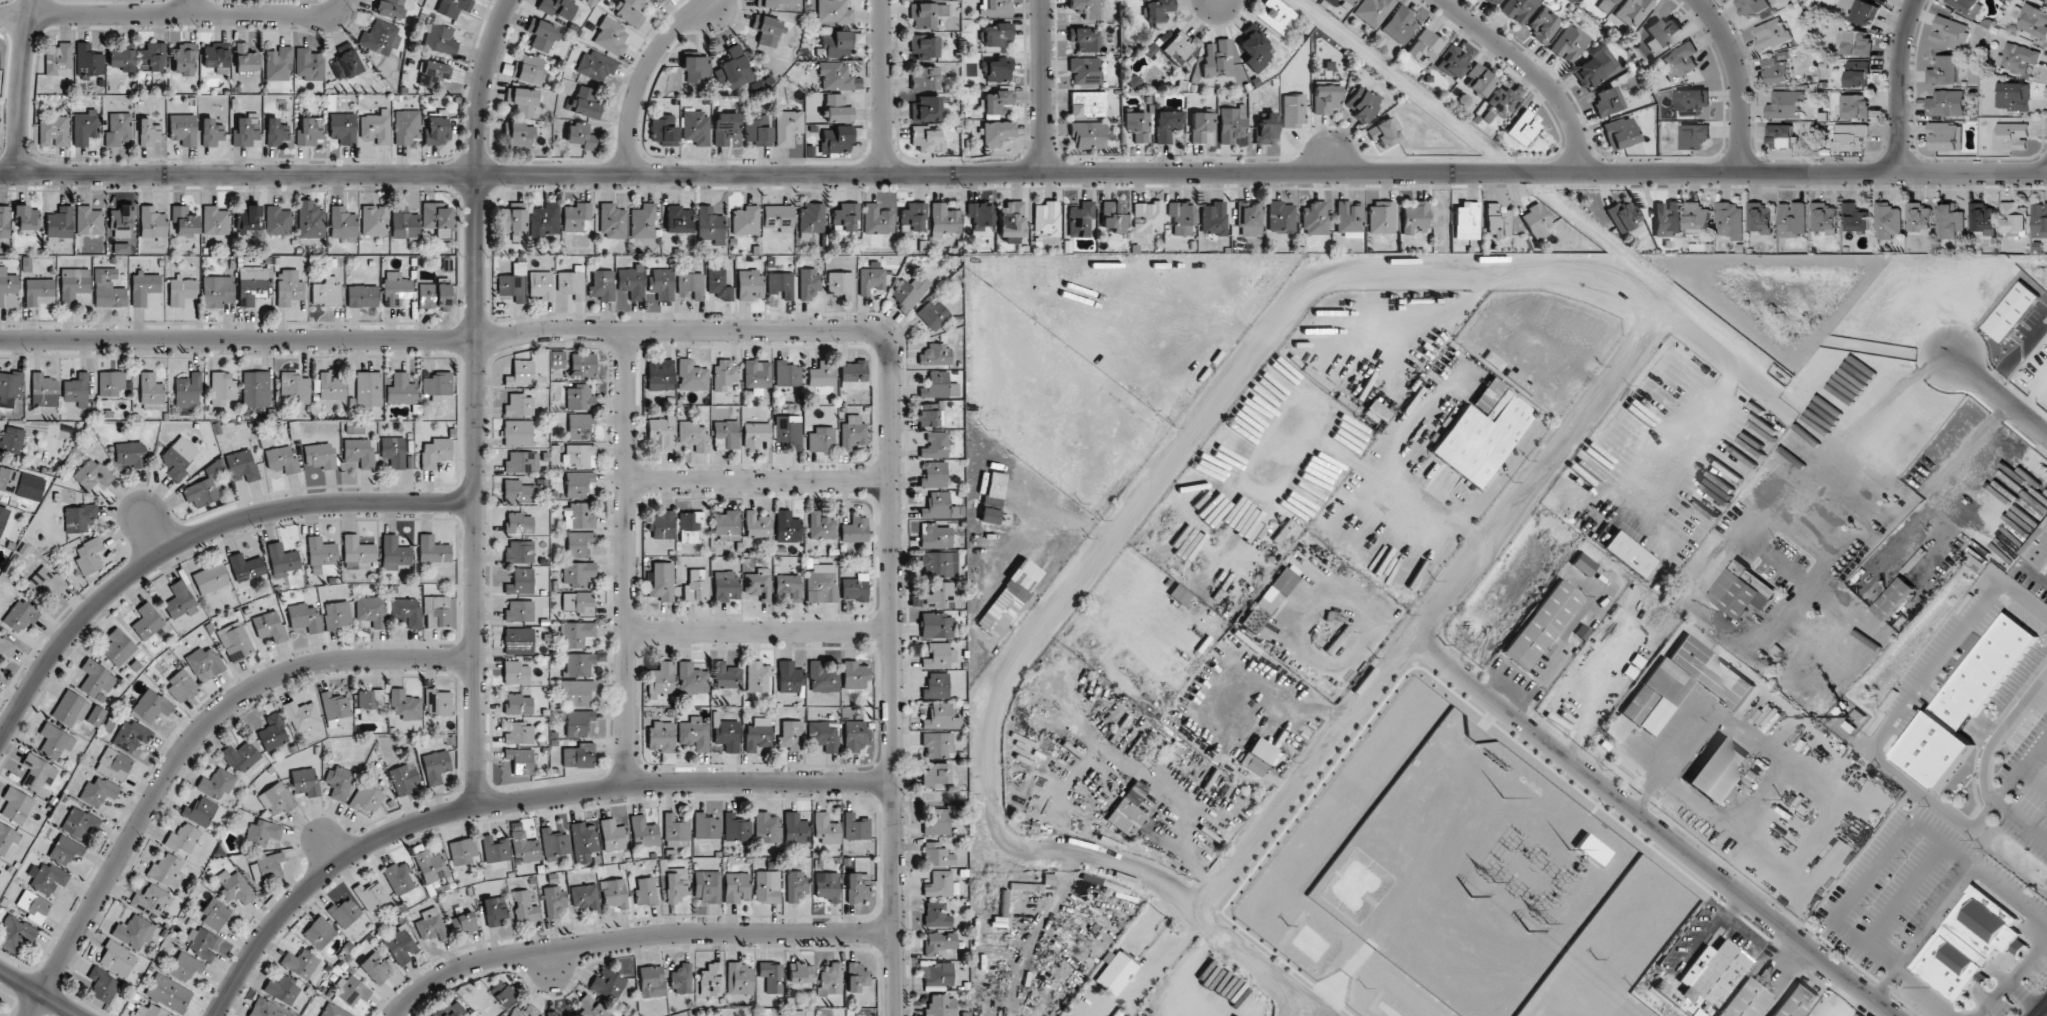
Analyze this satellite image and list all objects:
building: (659, 1)
building: (1494, 1)
building: (769, 3)
building: (1348, 3)
building: (1605, 5)
building: (453, 7)
building: (558, 7)
building: (996, 7)
building: (1753, 7)
building: (1967, 7)
road: (188, 8)
building: (390, 8)
building: (1085, 8)
building: (1518, 9)
building: (1159, 10)
building: (1859, 10)
building: (834, 11)
building: (1373, 11)
building: (1633, 11)
building: (630, 12)
building: (926, 14)
building: (1275, 15)
road: (177, 16)
building: (2033, 21)
building: (1400, 24)
building: (1543, 26)
building: (767, 30)
building: (1662, 33)
building: (1950, 33)
building: (997, 34)
building: (1772, 34)
building: (541, 35)
building: (381, 37)
building: (611, 37)
building: (439, 39)
building: (1084, 39)
building: (1569, 42)
building: (1858, 43)
building: (837, 44)
building: (1425, 46)
building: (925, 47)
building: (1178, 47)
building: (1255, 50)
building: (154, 56)
building: (216, 57)
building: (184, 58)
building: (1217, 58)
building: (2018, 58)
building: (59, 59)
building: (122, 59)
building: (88, 60)
building: (1681, 61)
building: (346, 62)
building: (1453, 62)
building: (279, 63)
building: (309, 64)
building: (596, 66)
building: (734, 68)
building: (1595, 68)
building: (528, 69)
building: (696, 69)
building: (997, 70)
building: (1084, 70)
road: (1533, 70)
building: (1945, 70)
building: (1776, 71)
building: (433, 72)
building: (1858, 74)
building: (835, 76)
road: (652, 77)
building: (924, 78)
building: (1479, 80)
road: (1737, 80)
road: (19, 85)
road: (883, 86)
road: (1042, 86)
road: (1900, 86)
building: (2013, 96)
building: (1325, 99)
building: (522, 100)
building: (1691, 100)
building: (1501, 101)
building: (1607, 102)
building: (584, 103)
building: (1362, 103)
building: (1946, 103)
building: (1088, 104)
building: (1785, 105)
building: (1855, 106)
building: (838, 109)
building: (926, 109)
building: (1293, 111)
building: (1168, 125)
building: (1232, 125)
building: (406, 126)
building: (788, 126)
building: (1136, 126)
building: (1201, 126)
building: (85, 127)
building: (376, 127)
building: (695, 127)
building: (343, 128)
building: (437, 128)
building: (725, 128)
building: (1523, 128)
building: (118, 129)
building: (183, 129)
building: (663, 129)
building: (1266, 129)
building: (246, 130)
building: (758, 130)
building: (53, 131)
building: (276, 132)
building: (310, 132)
building: (997, 132)
building: (148, 133)
building: (211, 133)
building: (1383, 133)
building: (1621, 133)
building: (519, 135)
building: (1087, 135)
building: (581, 136)
building: (1695, 136)
building: (1780, 136)
building: (2012, 136)
building: (1850, 137)
building: (1945, 137)
building: (837, 139)
building: (927, 139)
road: (1023, 172)
building: (437, 215)
building: (980, 215)
building: (1623, 216)
building: (577, 217)
building: (778, 217)
building: (913, 217)
building: (1113, 217)
building: (1147, 217)
building: (1281, 217)
building: (1315, 217)
building: (1382, 217)
building: (1919, 217)
building: (2013, 217)
building: (26, 218)
building: (122, 218)
building: (1012, 218)
building: (1182, 218)
building: (1214, 218)
building: (1249, 218)
building: (1349, 218)
building: (1415, 218)
building: (1667, 218)
building: (1697, 218)
building: (1760, 218)
building: (1824, 218)
building: (1855, 218)
building: (1982, 218)
building: (248, 219)
building: (678, 219)
building: (812, 219)
building: (1046, 219)
building: (1793, 219)
building: (310, 220)
building: (374, 220)
building: (545, 220)
building: (746, 220)
building: (878, 220)
building: (945, 220)
building: (1081, 220)
building: (1497, 220)
building: (2040, 220)
building: (89, 221)
building: (185, 221)
building: (216, 221)
building: (278, 221)
building: (512, 221)
building: (612, 221)
building: (643, 221)
building: (1466, 221)
building: (1536, 221)
building: (1730, 221)
building: (1887, 221)
building: (1951, 221)
building: (60, 222)
building: (152, 222)
building: (4, 223)
building: (343, 223)
building: (404, 223)
building: (710, 225)
building: (121, 248)
building: (871, 280)
building: (632, 282)
building: (7, 283)
building: (572, 283)
building: (662, 283)
building: (808, 283)
building: (541, 284)
building: (691, 284)
building: (719, 284)
building: (749, 284)
building: (781, 284)
building: (841, 284)
building: (252, 285)
building: (602, 285)
building: (73, 286)
building: (144, 287)
building: (288, 287)
building: (511, 287)
building: (396, 288)
building: (108, 289)
building: (182, 290)
building: (39, 291)
building: (217, 291)
building: (326, 292)
building: (909, 292)
building: (362, 296)
building: (434, 296)
building: (932, 314)
road: (782, 330)
building: (935, 355)
building: (557, 359)
building: (583, 366)
building: (724, 373)
building: (520, 374)
building: (757, 374)
building: (787, 374)
building: (822, 374)
building: (660, 375)
building: (853, 375)
building: (691, 376)
building: (1520, 382)
building: (110, 383)
building: (438, 384)
building: (935, 385)
building: (295, 386)
building: (332, 387)
building: (10, 388)
building: (222, 388)
building: (369, 388)
building: (256, 389)
building: (401, 389)
building: (44, 390)
building: (76, 390)
building: (188, 390)
building: (151, 391)
building: (1488, 395)
building: (578, 397)
road: (1222, 398)
road: (1996, 399)
road: (477, 400)
building: (519, 405)
building: (1376, 411)
building: (930, 415)
building: (579, 426)
building: (788, 431)
road: (1691, 432)
building: (517, 433)
building: (661, 433)
building: (853, 433)
building: (693, 435)
building: (726, 435)
building: (755, 435)
building: (1482, 439)
building: (12, 440)
building: (820, 440)
building: (934, 445)
building: (394, 452)
building: (436, 452)
building: (130, 454)
road: (1853, 454)
building: (579, 455)
building: (320, 456)
building: (178, 458)
building: (282, 461)
building: (522, 462)
building: (243, 465)
building: (92, 474)
building: (934, 475)
road: (758, 479)
building: (8, 480)
building: (578, 484)
building: (204, 486)
building: (995, 488)
building: (518, 492)
building: (938, 506)
building: (578, 516)
building: (989, 516)
building: (2, 517)
building: (79, 518)
building: (519, 523)
building: (663, 525)
building: (757, 525)
building: (690, 526)
building: (727, 526)
building: (821, 526)
building: (787, 527)
building: (854, 530)
road: (194, 534)
building: (935, 537)
building: (579, 543)
building: (433, 550)
building: (2039, 550)
building: (357, 552)
building: (519, 552)
building: (394, 553)
building: (321, 554)
building: (1630, 555)
building: (89, 556)
building: (282, 559)
road: (625, 559)
building: (938, 564)
building: (1583, 564)
building: (246, 567)
building: (577, 573)
building: (210, 578)
building: (662, 581)
building: (520, 582)
building: (44, 583)
building: (822, 583)
building: (759, 584)
building: (697, 585)
building: (726, 585)
building: (789, 586)
building: (855, 588)
building: (1743, 589)
building: (1180, 595)
building: (938, 596)
building: (1895, 598)
building: (179, 599)
building: (1008, 599)
building: (1269, 600)
building: (578, 603)
building: (371, 610)
road: (1435, 610)
building: (438, 611)
building: (519, 611)
building: (407, 612)
building: (20, 615)
building: (337, 615)
building: (304, 618)
building: (147, 621)
building: (1542, 623)
building: (937, 625)
building: (270, 626)
road: (759, 628)
building: (576, 634)
building: (235, 641)
building: (518, 641)
building: (118, 647)
building: (6, 648)
building: (937, 656)
building: (204, 663)
building: (579, 664)
building: (516, 672)
building: (726, 675)
building: (854, 675)
building: (758, 676)
building: (789, 677)
building: (662, 678)
building: (823, 678)
building: (692, 679)
building: (97, 680)
building: (181, 686)
building: (936, 686)
building: (1679, 686)
building: (577, 692)
building: (1966, 702)
building: (438, 703)
building: (518, 704)
building: (370, 705)
building: (405, 705)
building: (151, 706)
building: (335, 706)
building: (70, 708)
building: (301, 715)
building: (96, 716)
building: (941, 717)
building: (578, 722)
building: (273, 732)
building: (519, 733)
building: (695, 733)
building: (728, 734)
building: (758, 734)
building: (791, 735)
building: (823, 735)
building: (131, 736)
building: (661, 736)
building: (855, 736)
building: (55, 741)
building: (937, 744)
road: (188, 745)
building: (1147, 749)
building: (579, 755)
building: (242, 756)
building: (1258, 756)
building: (520, 761)
building: (114, 764)
building: (435, 766)
building: (1718, 769)
building: (37, 772)
building: (936, 775)
building: (404, 778)
building: (305, 781)
building: (339, 782)
building: (217, 783)
building: (98, 792)
building: (366, 797)
building: (276, 799)
road: (511, 802)
building: (16, 805)
building: (1128, 810)
building: (200, 811)
building: (936, 821)
building: (80, 823)
building: (706, 826)
building: (766, 827)
building: (856, 827)
road: (1654, 827)
building: (736, 828)
building: (794, 828)
building: (826, 830)
building: (675, 831)
building: (263, 832)
building: (643, 832)
building: (613, 835)
road: (1899, 837)
building: (5, 838)
building: (183, 838)
building: (584, 842)
building: (554, 843)
building: (523, 845)
building: (495, 849)
building: (1592, 849)
building: (65, 850)
building: (462, 851)
building: (937, 855)
building: (267, 865)
building: (431, 866)
building: (167, 871)
building: (48, 878)
building: (399, 878)
building: (675, 884)
building: (938, 884)
building: (707, 886)
building: (767, 886)
building: (795, 886)
building: (827, 886)
building: (234, 887)
building: (736, 887)
building: (857, 887)
building: (646, 891)
building: (614, 893)
road: (1172, 893)
building: (371, 895)
building: (585, 897)
building: (149, 900)
building: (554, 900)
building: (33, 905)
building: (525, 907)
building: (494, 911)
building: (345, 912)
building: (215, 914)
building: (936, 914)
building: (466, 921)
building: (431, 925)
building: (134, 931)
building: (16, 932)
building: (319, 932)
road: (633, 934)
building: (1970, 942)
building: (200, 943)
building: (939, 943)
building: (401, 946)
building: (118, 960)
building: (300, 963)
building: (186, 966)
building: (375, 967)
road: (1155, 968)
building: (800, 972)
building: (1114, 972)
building: (935, 973)
building: (772, 977)
building: (832, 977)
building: (856, 977)
building: (740, 978)
building: (1708, 978)
building: (681, 979)
building: (711, 980)
building: (652, 981)
building: (608, 983)
road: (1883, 984)
building: (102, 985)
building: (283, 989)
building: (351, 990)
building: (169, 993)
building: (503, 993)
road: (38, 994)
road: (1993, 999)
road: (2028, 999)
building: (1745, 1000)
building: (1796, 1001)
road: (1285, 1004)
building: (940, 1005)
building: (591, 1007)
building: (265, 1009)
building: (450, 1009)
building: (151, 1011)
building: (333, 1011)
building: (525, 1011)
building: (1117, 1012)
building: (553, 1013)

